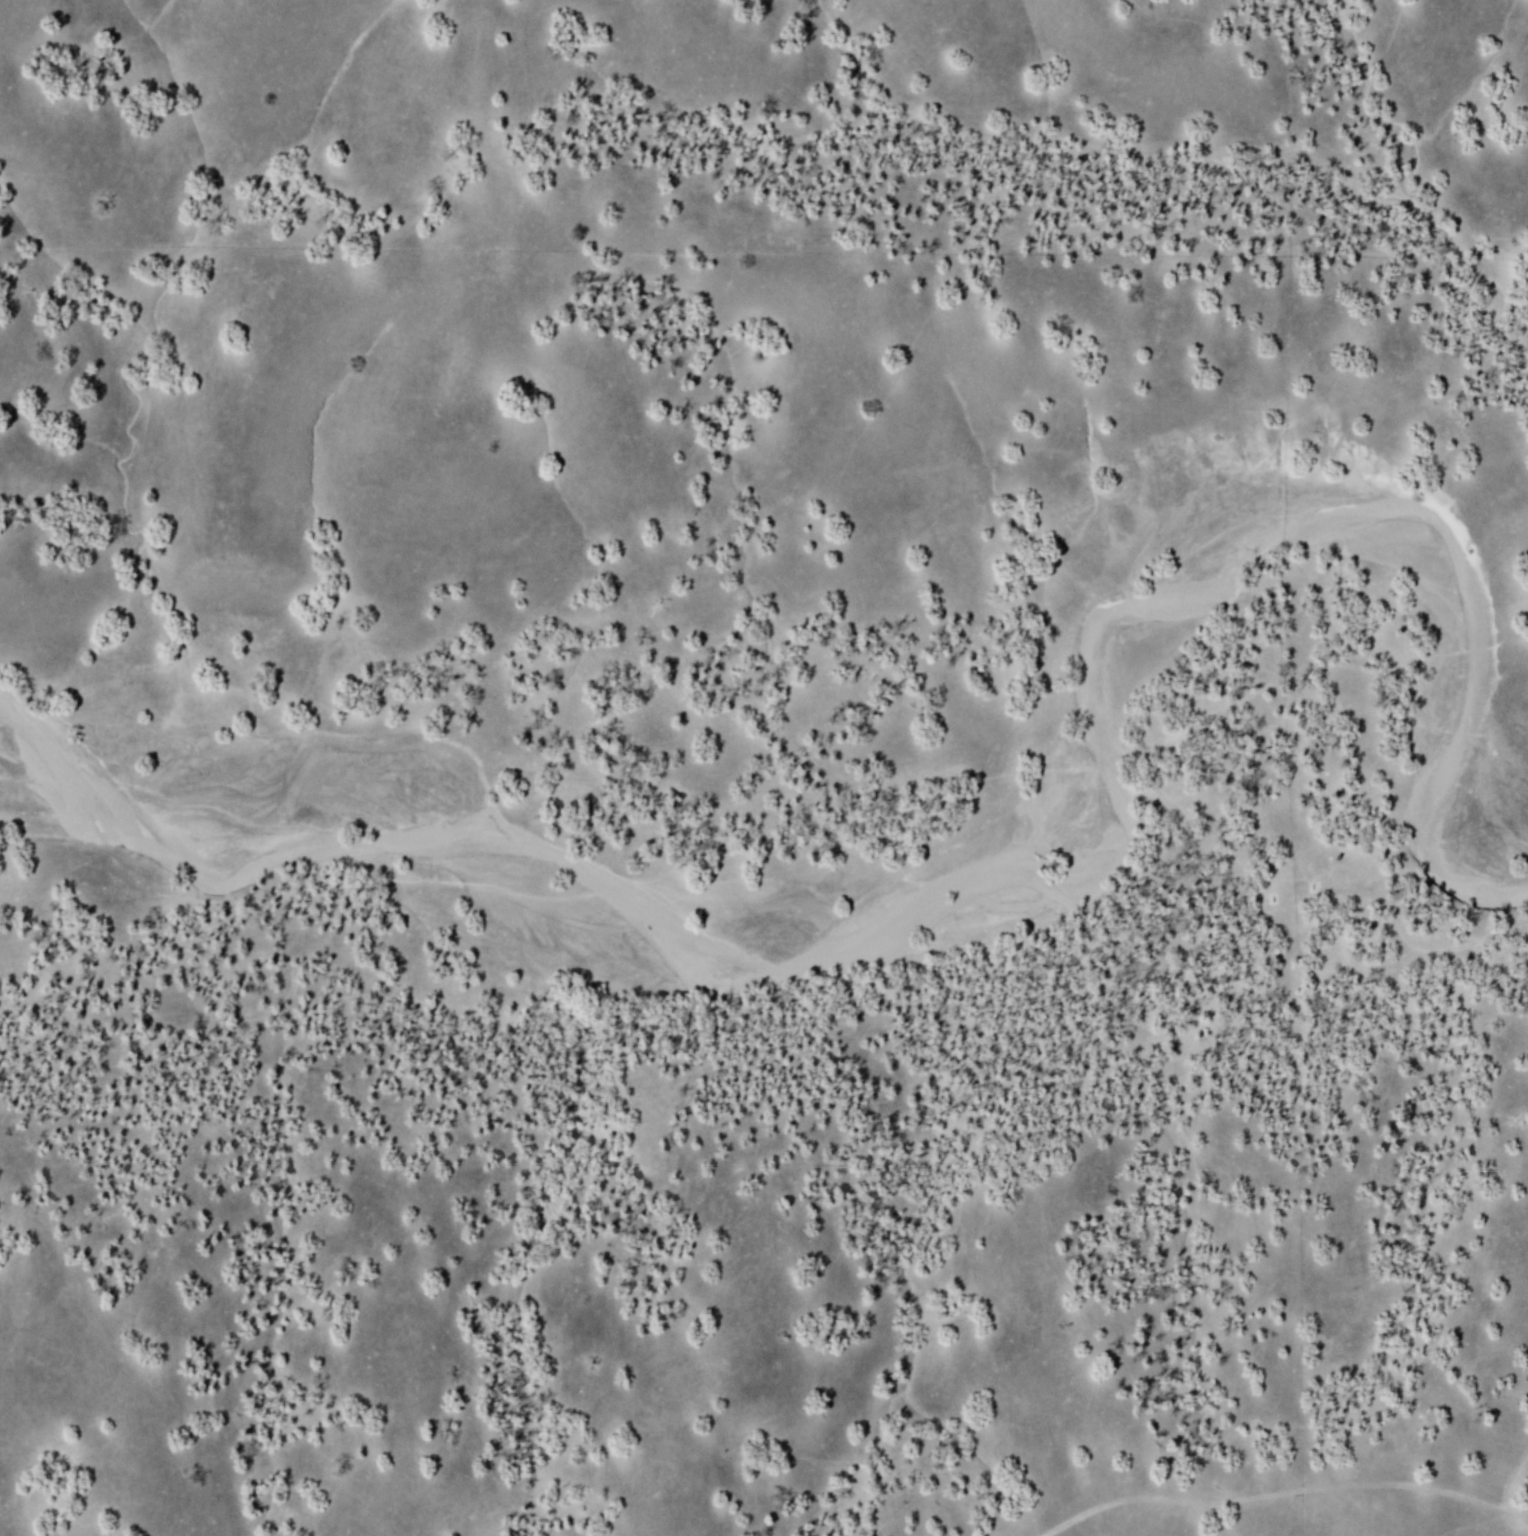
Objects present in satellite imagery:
river: (1048, 887)
road: (1462, 946)
road: (1513, 1477)
road: (1271, 1494)
road: (1516, 1512)

